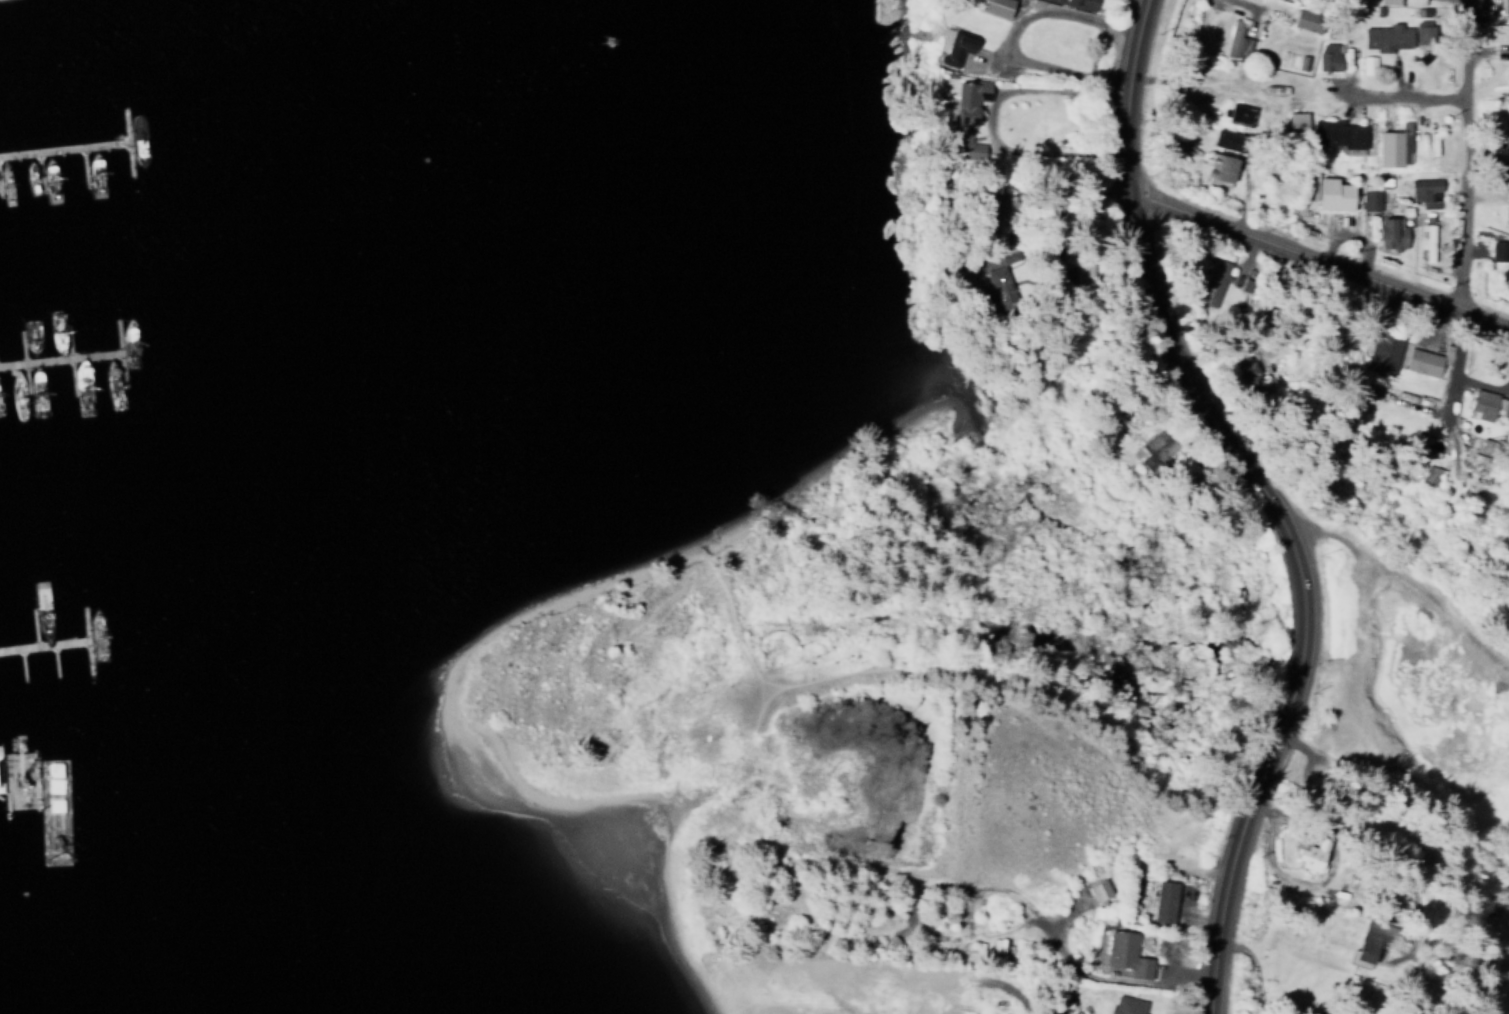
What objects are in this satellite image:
building: (1413, 0)
building: (1084, 2)
building: (1388, 2)
building: (1504, 3)
road: (1251, 5)
building: (997, 7)
building: (1306, 16)
building: (1233, 32)
road: (1008, 33)
building: (1387, 33)
building: (954, 43)
building: (1508, 46)
building: (1332, 57)
road: (1400, 89)
building: (1239, 110)
building: (965, 112)
road: (992, 115)
building: (1294, 119)
building: (1336, 128)
building: (1226, 135)
pier: (125, 141)
building: (1389, 145)
pier: (62, 147)
road: (1463, 152)
building: (1217, 165)
building: (1505, 170)
building: (1426, 187)
building: (1336, 195)
building: (1369, 200)
building: (1506, 206)
building: (1391, 234)
building: (1427, 238)
building: (1500, 252)
road: (1319, 255)
road: (1147, 271)
building: (1217, 283)
pier: (117, 352)
building: (1383, 352)
pier: (58, 357)
building: (1423, 361)
building: (1483, 402)
building: (1159, 441)
building: (1429, 475)
pier: (85, 642)
pier: (42, 644)
road: (1264, 761)
pier: (1, 769)
building: (1, 779)
road: (2, 790)
pier: (5, 790)
building: (1313, 856)
building: (1097, 890)
building: (1164, 900)
building: (1372, 943)
building: (1126, 954)
building: (1126, 1005)

